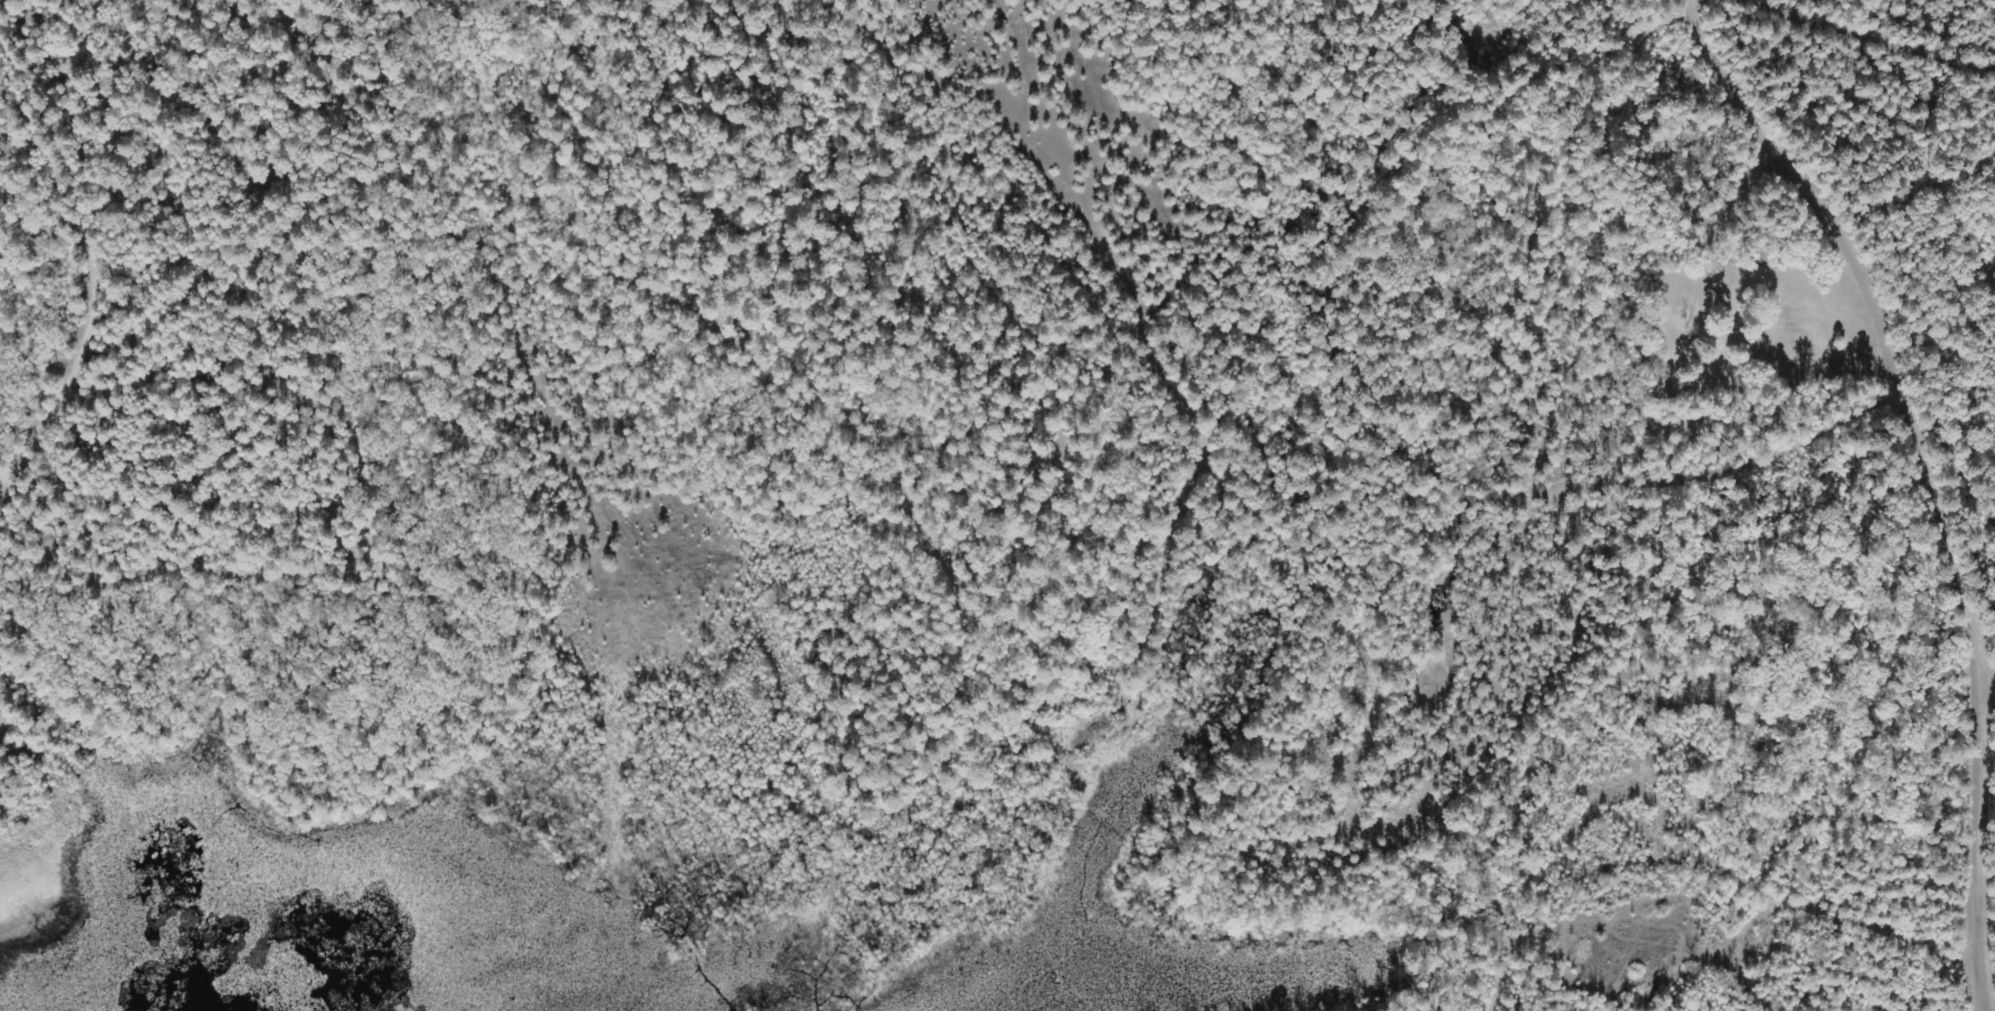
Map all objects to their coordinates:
road: (1960, 559)

